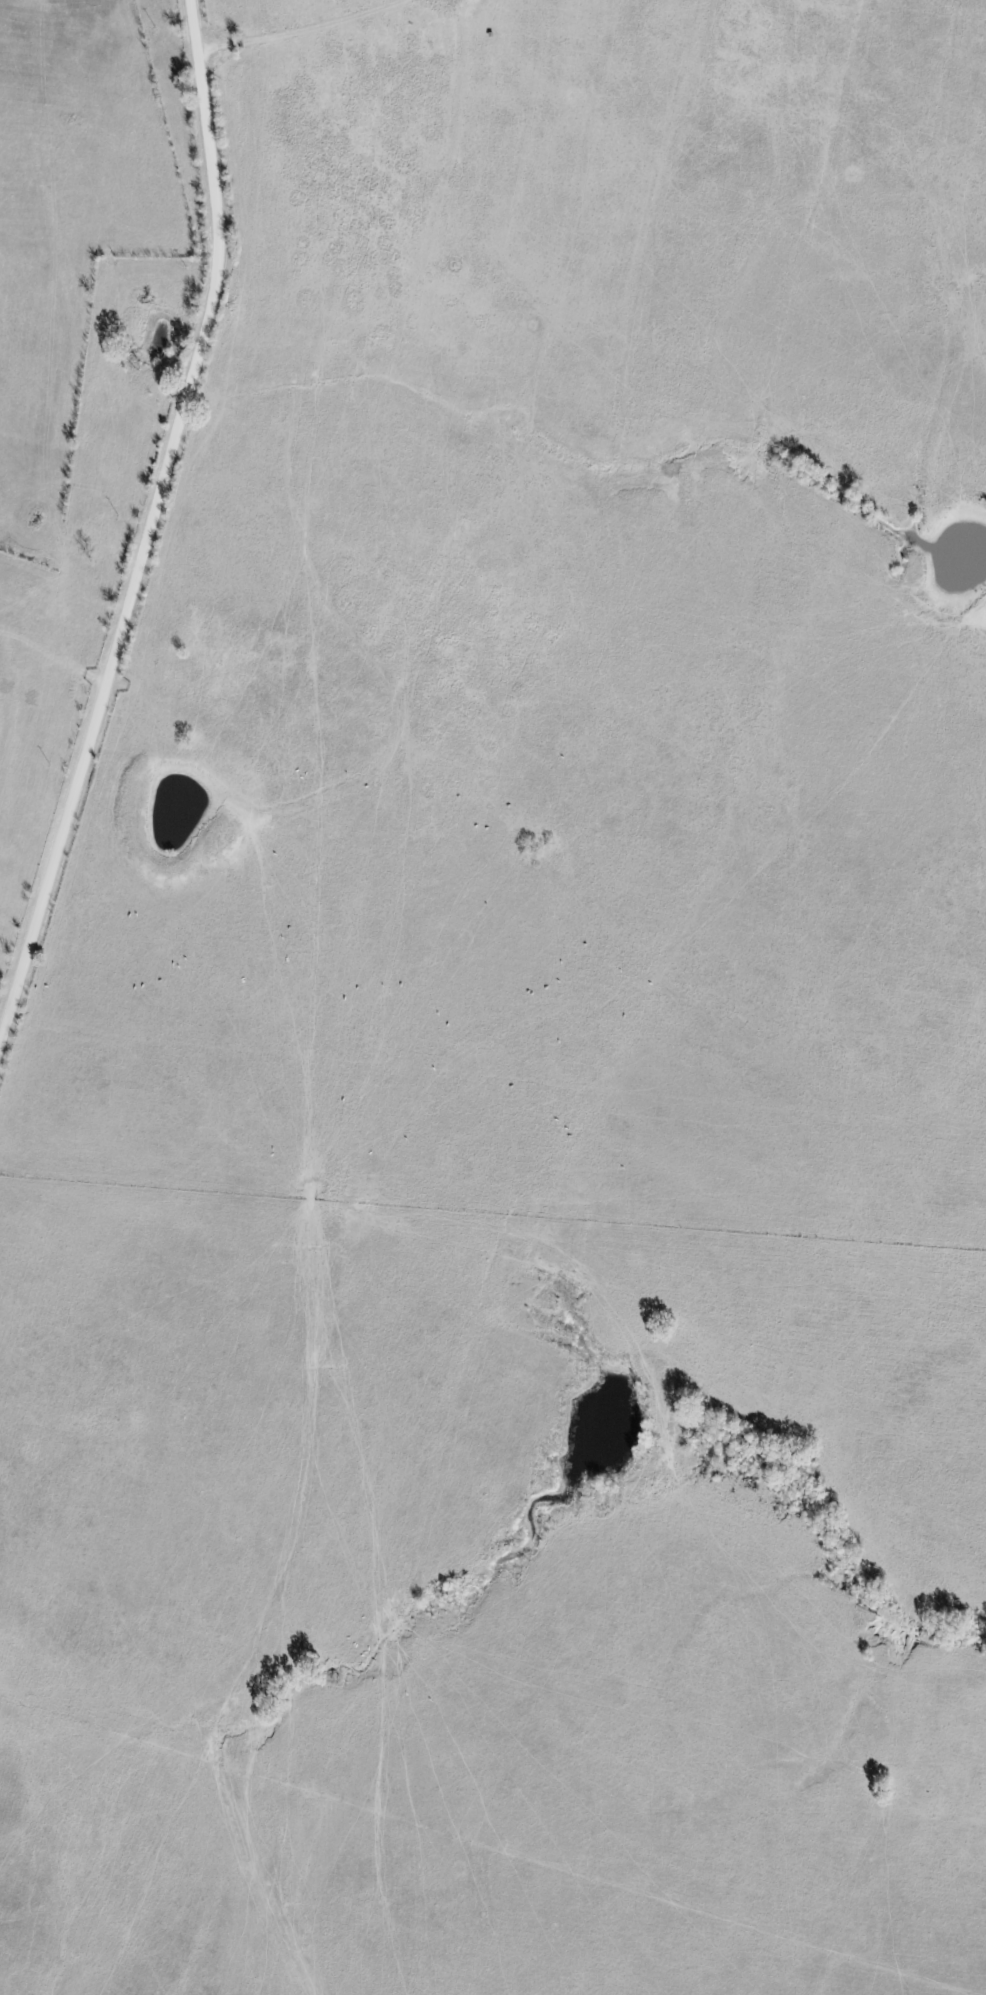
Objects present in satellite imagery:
road: (149, 527)

